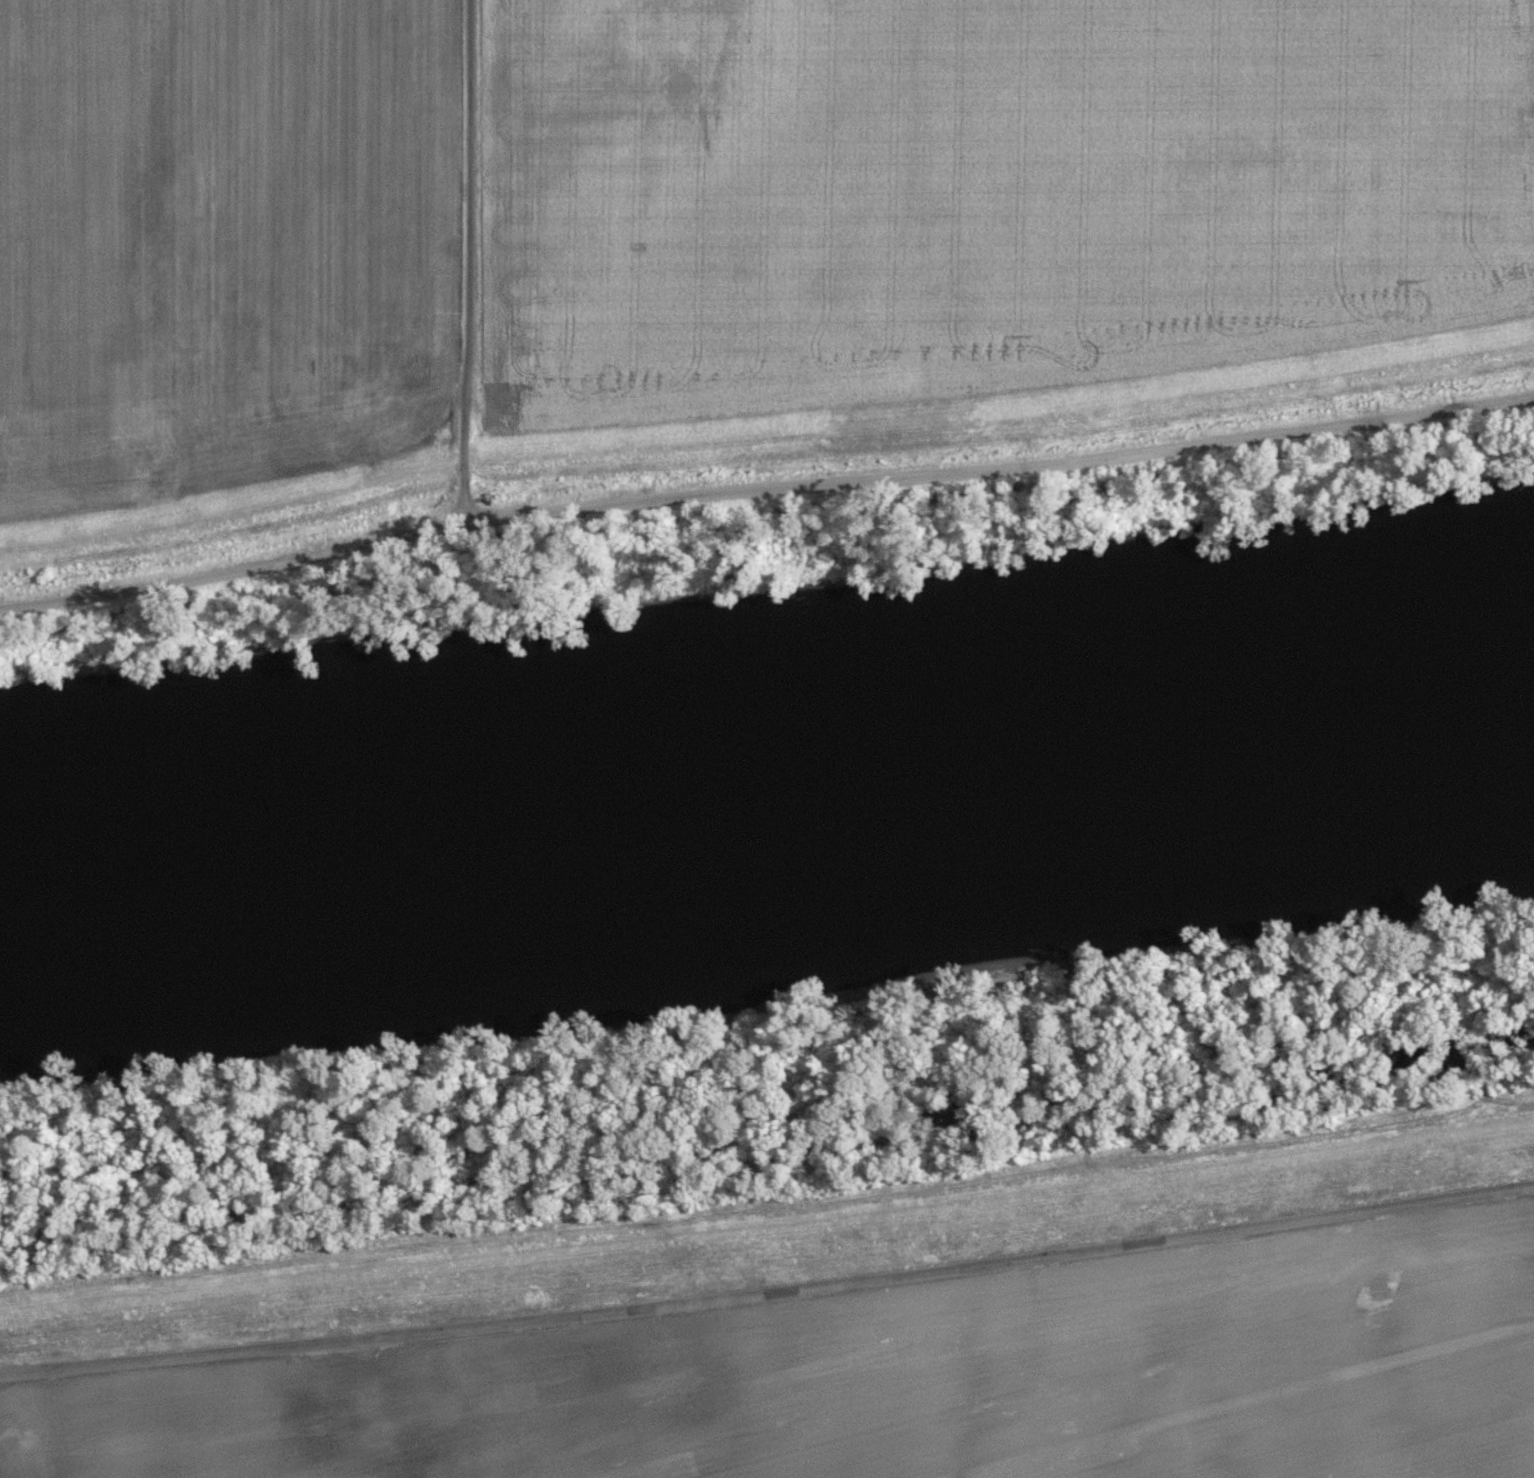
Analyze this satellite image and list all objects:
road: (469, 264)
road: (764, 492)
river: (766, 774)
road: (768, 1295)

